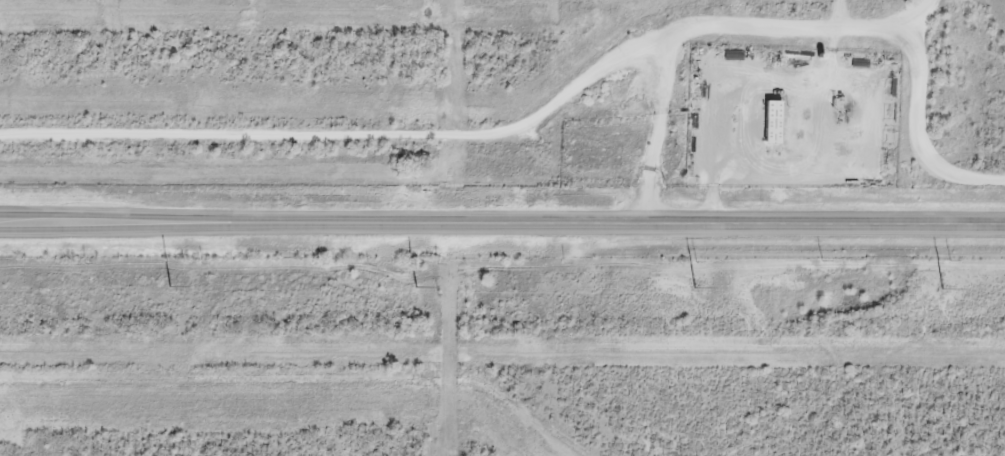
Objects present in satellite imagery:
building: (774, 121)
road: (502, 222)
power tower: (172, 285)
power tower: (416, 286)
power tower: (695, 287)
power tower: (943, 289)

